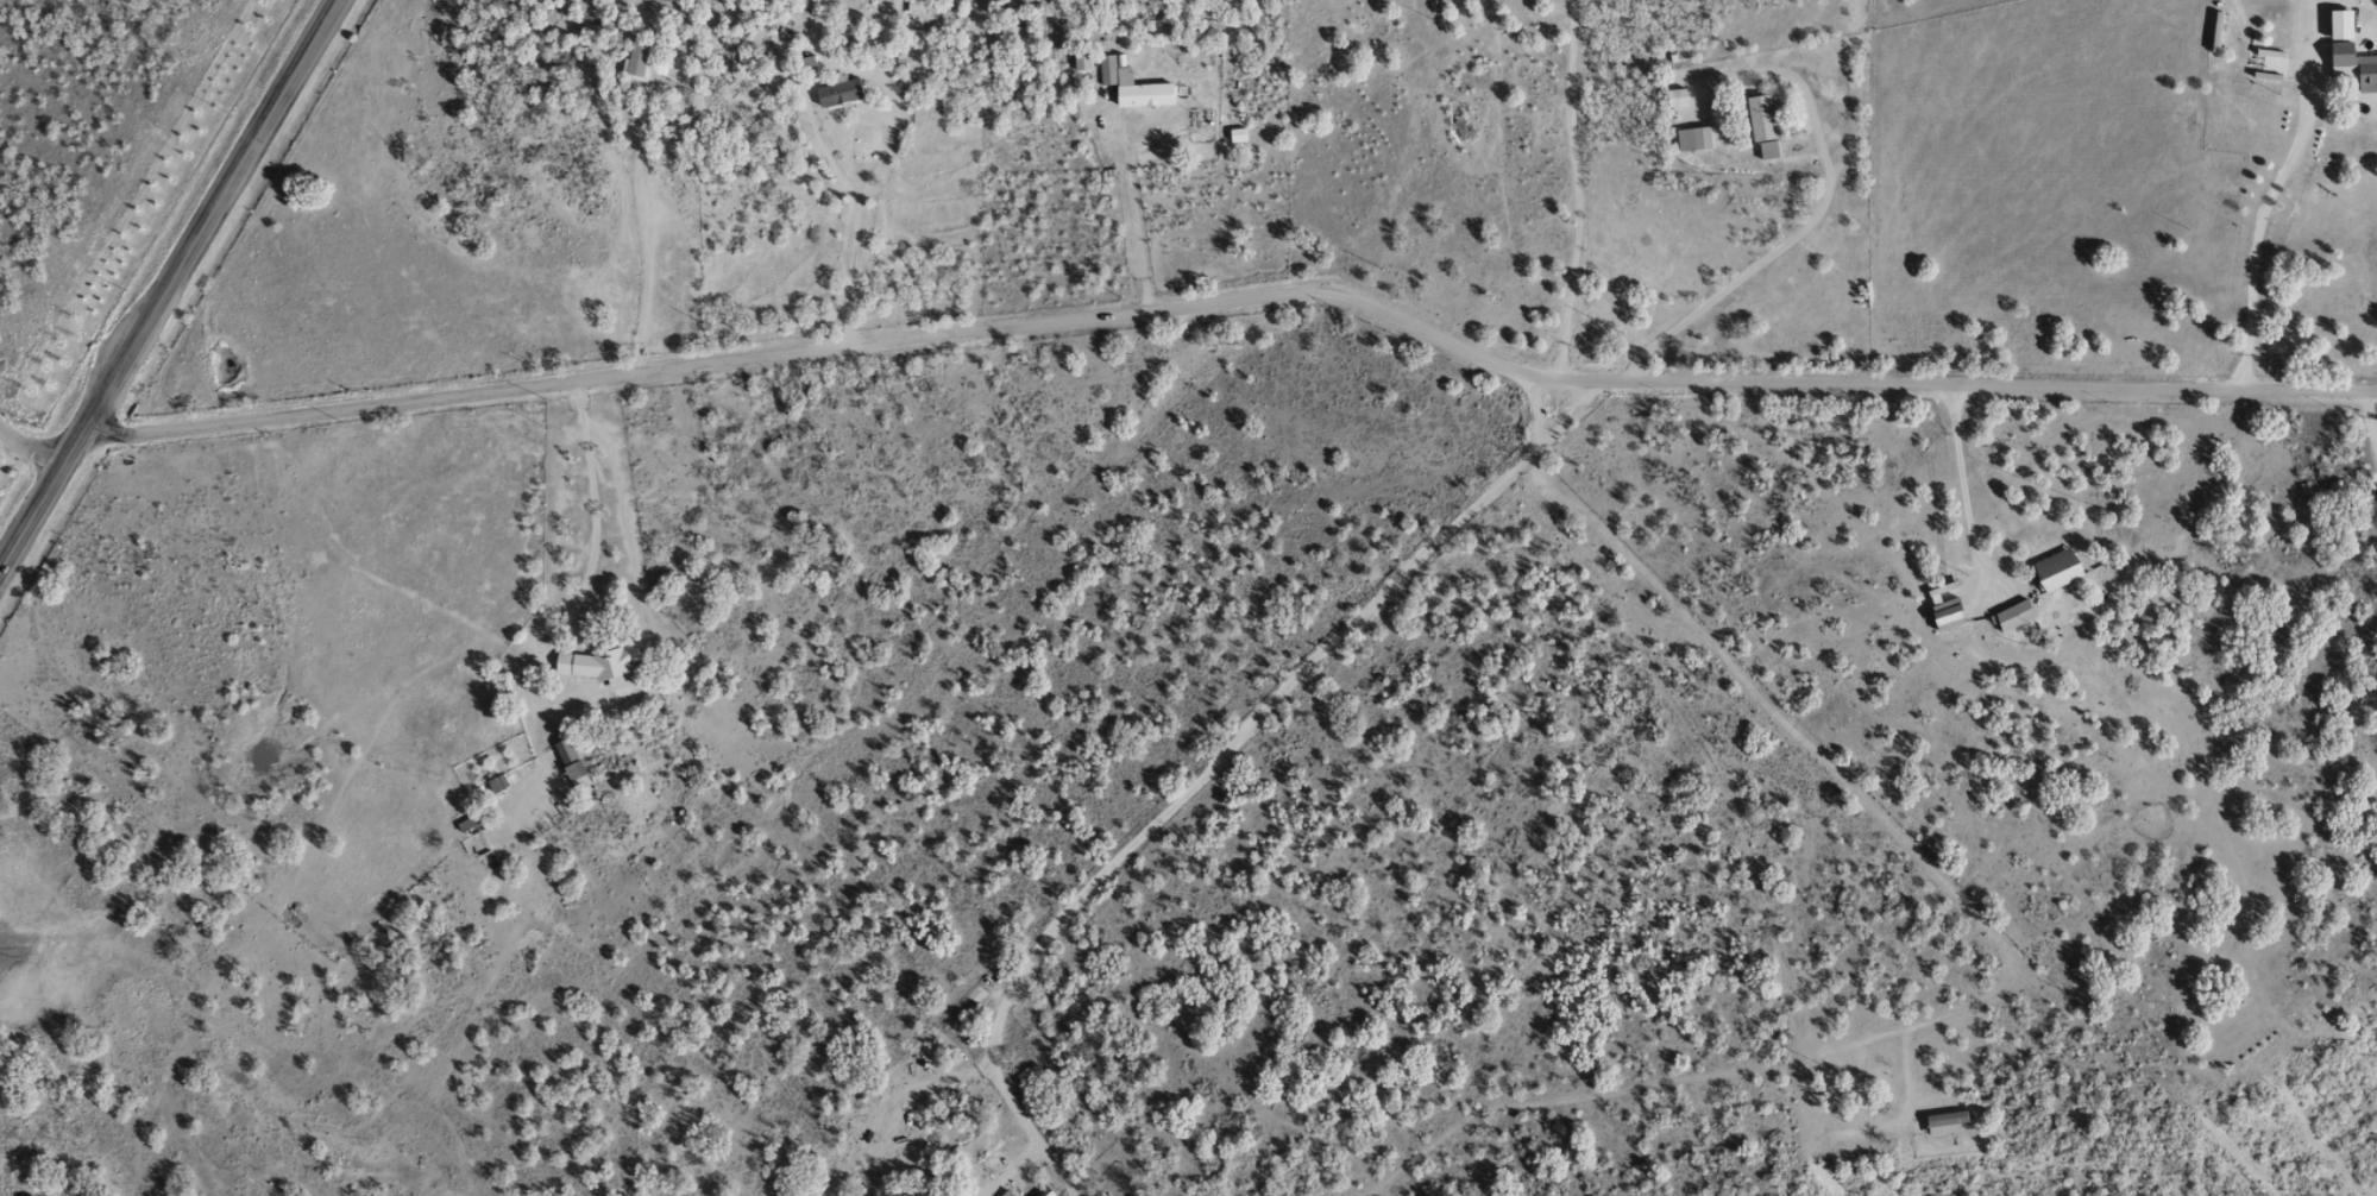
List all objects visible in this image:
building: (2335, 38)
building: (635, 59)
building: (2364, 74)
building: (2244, 78)
building: (1130, 87)
building: (836, 93)
building: (1759, 126)
building: (1690, 139)
road: (163, 272)
road: (1215, 334)
road: (27, 430)
building: (2052, 569)
building: (1943, 613)
building: (2010, 616)
building: (598, 660)
road: (1207, 755)
building: (567, 762)
road: (2239, 779)
building: (466, 823)
building: (1941, 1122)
building: (1005, 1192)
building: (922, 1194)

